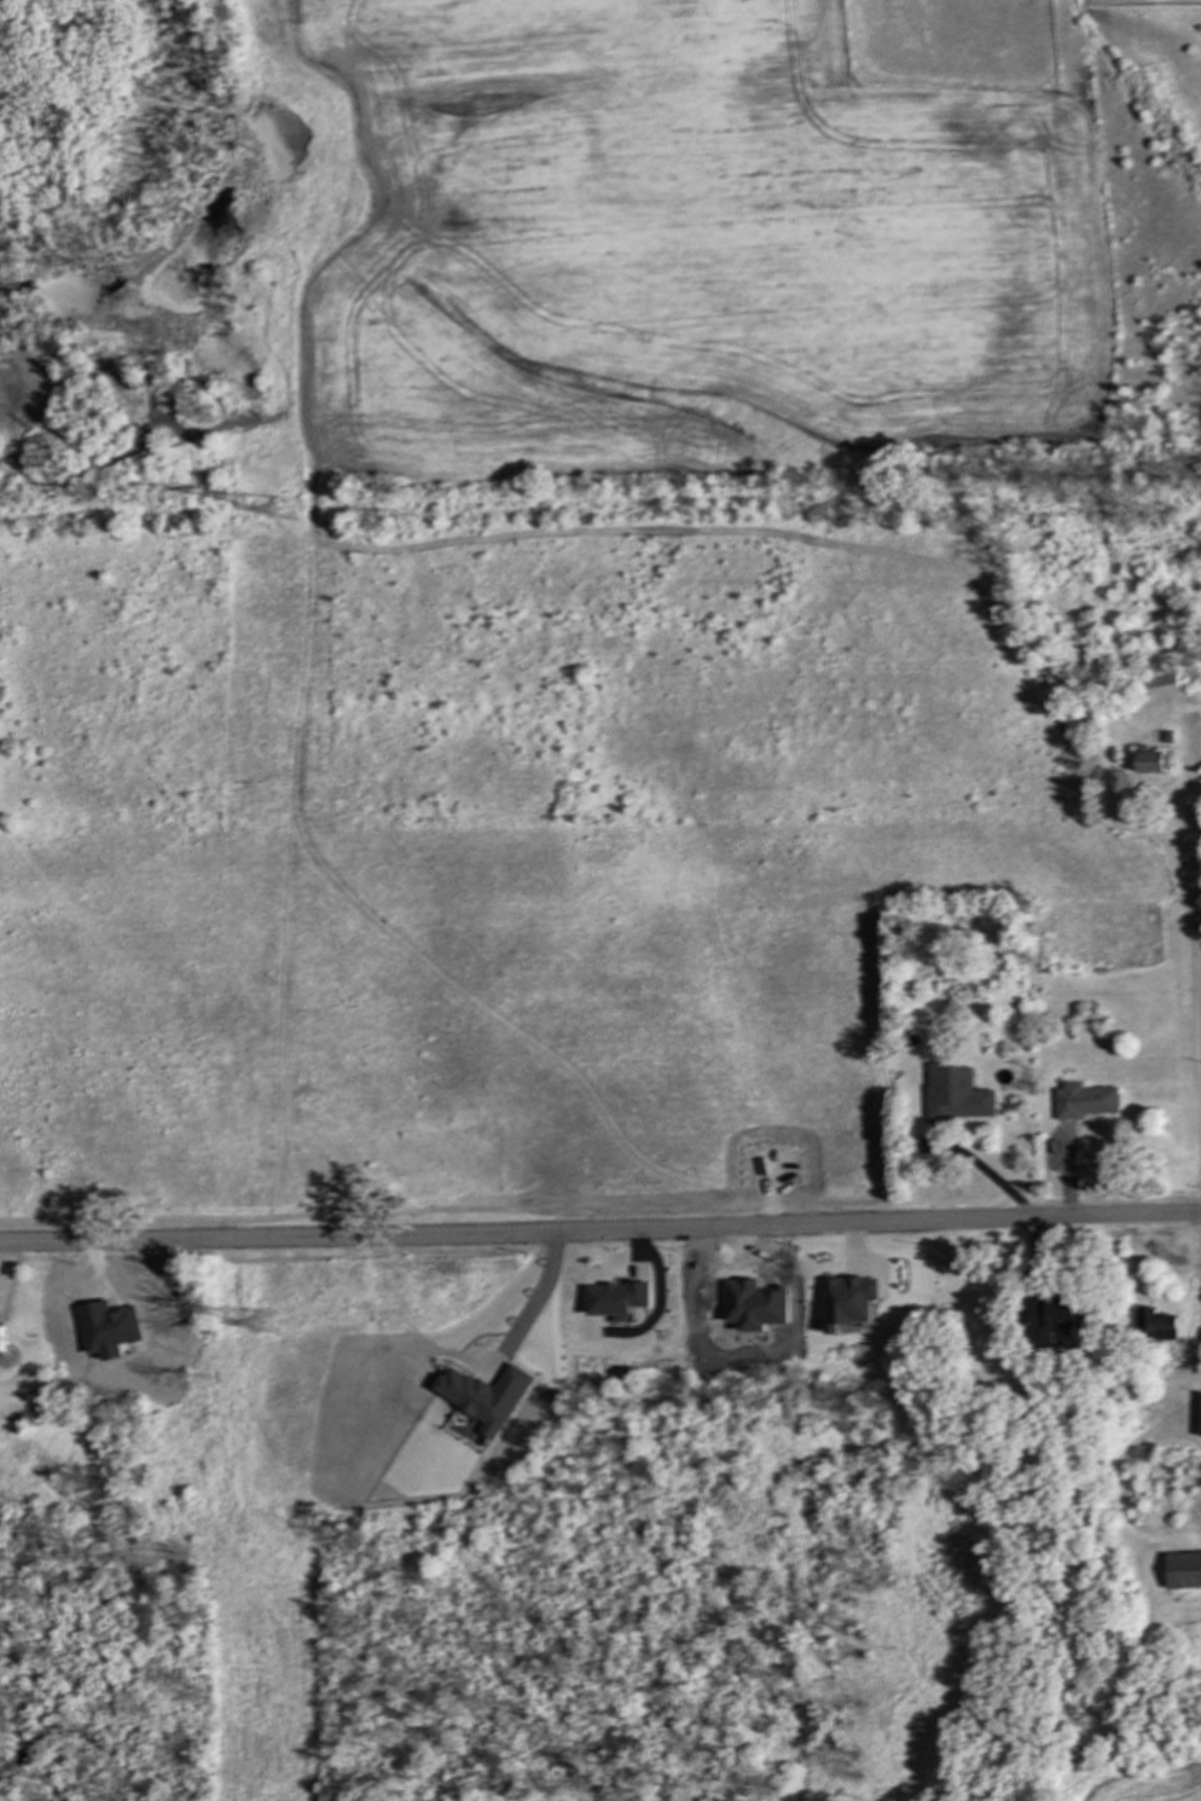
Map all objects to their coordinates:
power tower: (286, 510)
building: (1161, 685)
building: (1153, 765)
road: (1199, 845)
building: (1089, 1104)
building: (962, 1106)
road: (988, 1174)
road: (600, 1233)
road: (534, 1298)
building: (1051, 1320)
power tower: (267, 1321)
building: (1158, 1327)
building: (6, 1340)
road: (1197, 1367)
building: (1184, 1574)
crop: (1145, 1788)

